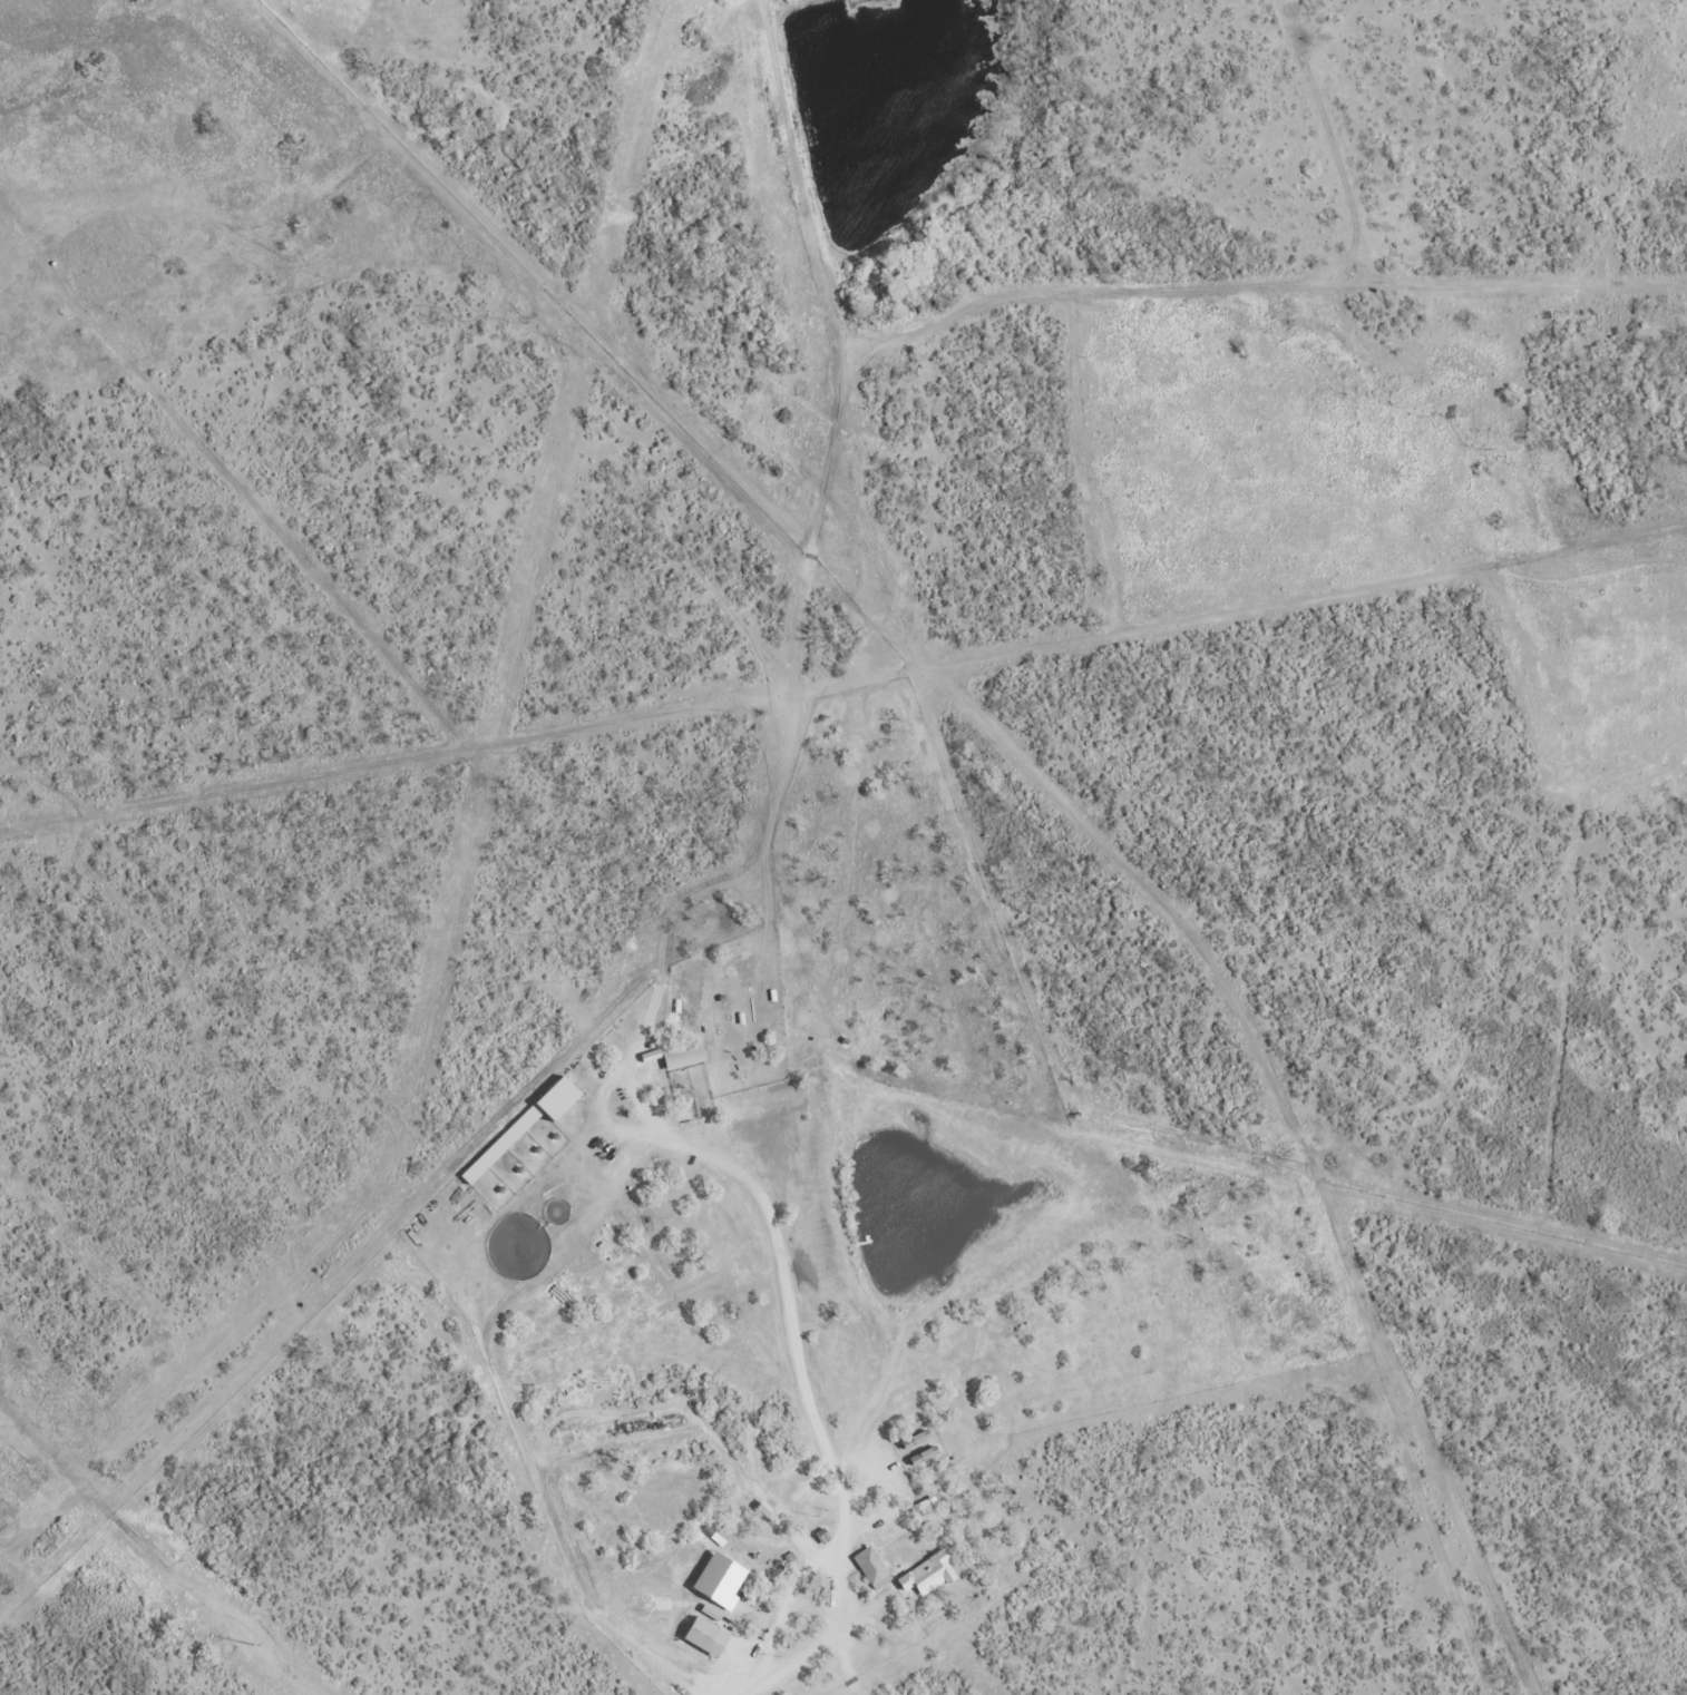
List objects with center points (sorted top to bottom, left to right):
building: (679, 1056)
road: (818, 1431)
building: (911, 1440)
building: (920, 1456)
building: (759, 1508)
building: (820, 1535)
building: (789, 1558)
building: (869, 1567)
building: (926, 1574)
building: (714, 1579)
building: (700, 1636)
power tower: (250, 1643)

